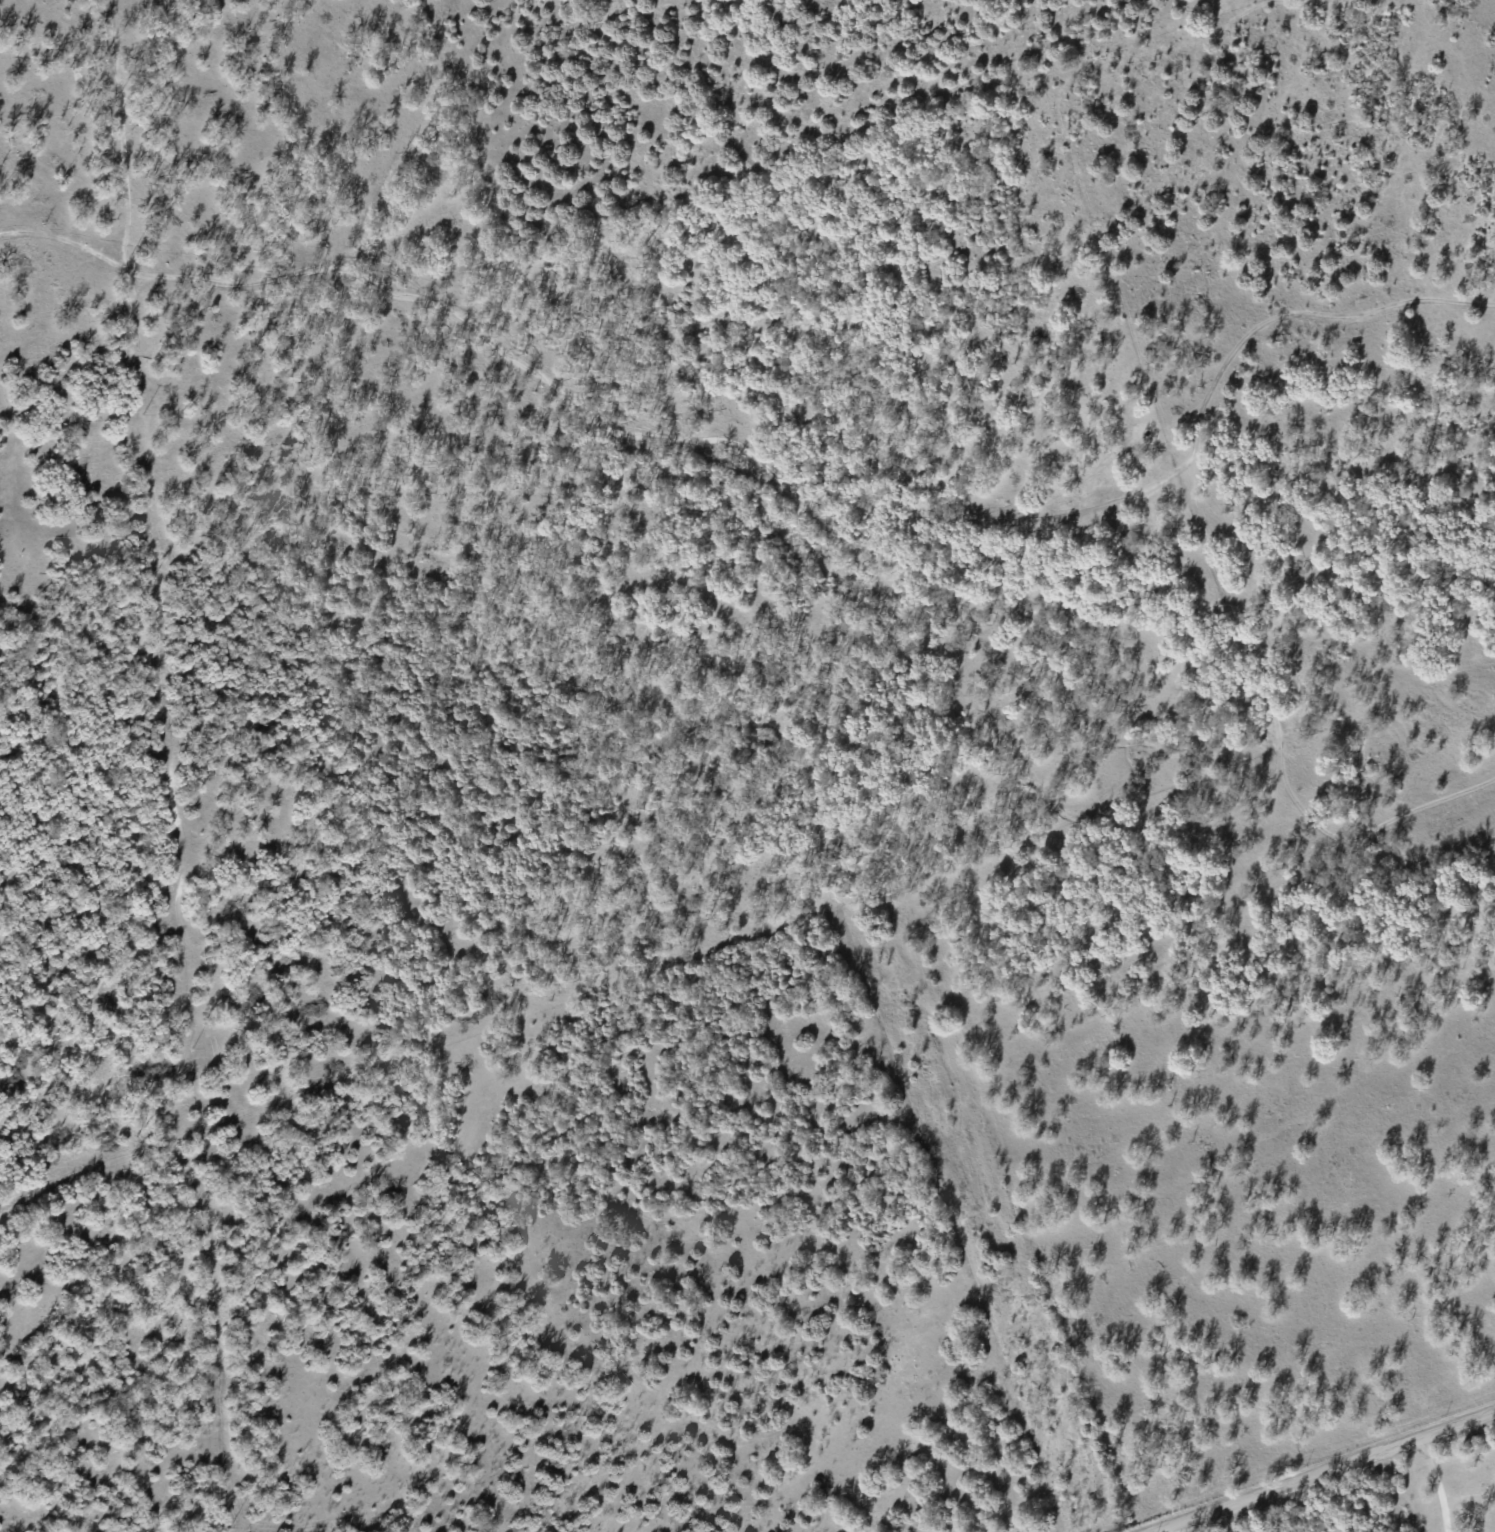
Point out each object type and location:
road: (1327, 1472)
road: (1438, 1484)
road: (1168, 1530)

